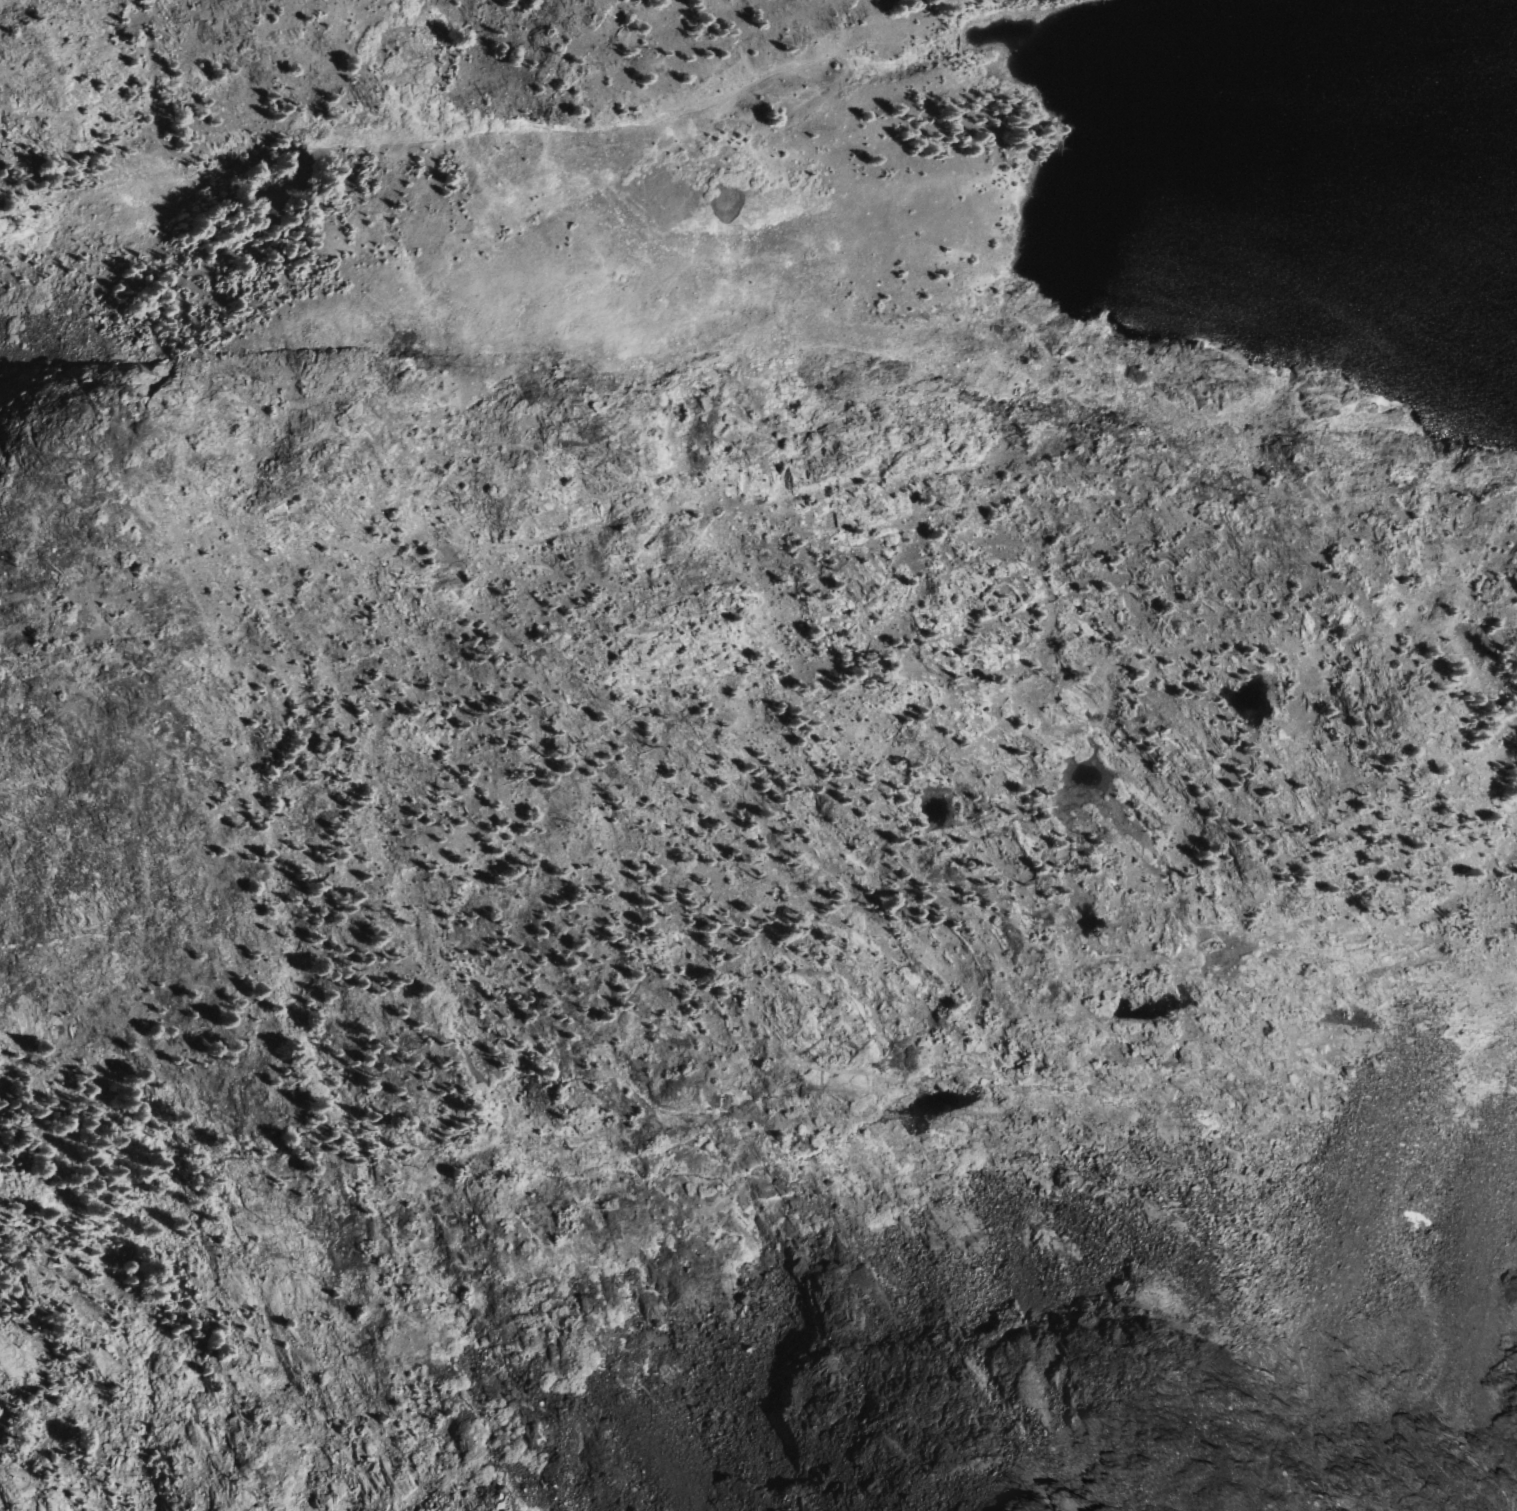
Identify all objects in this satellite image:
road: (493, 130)

